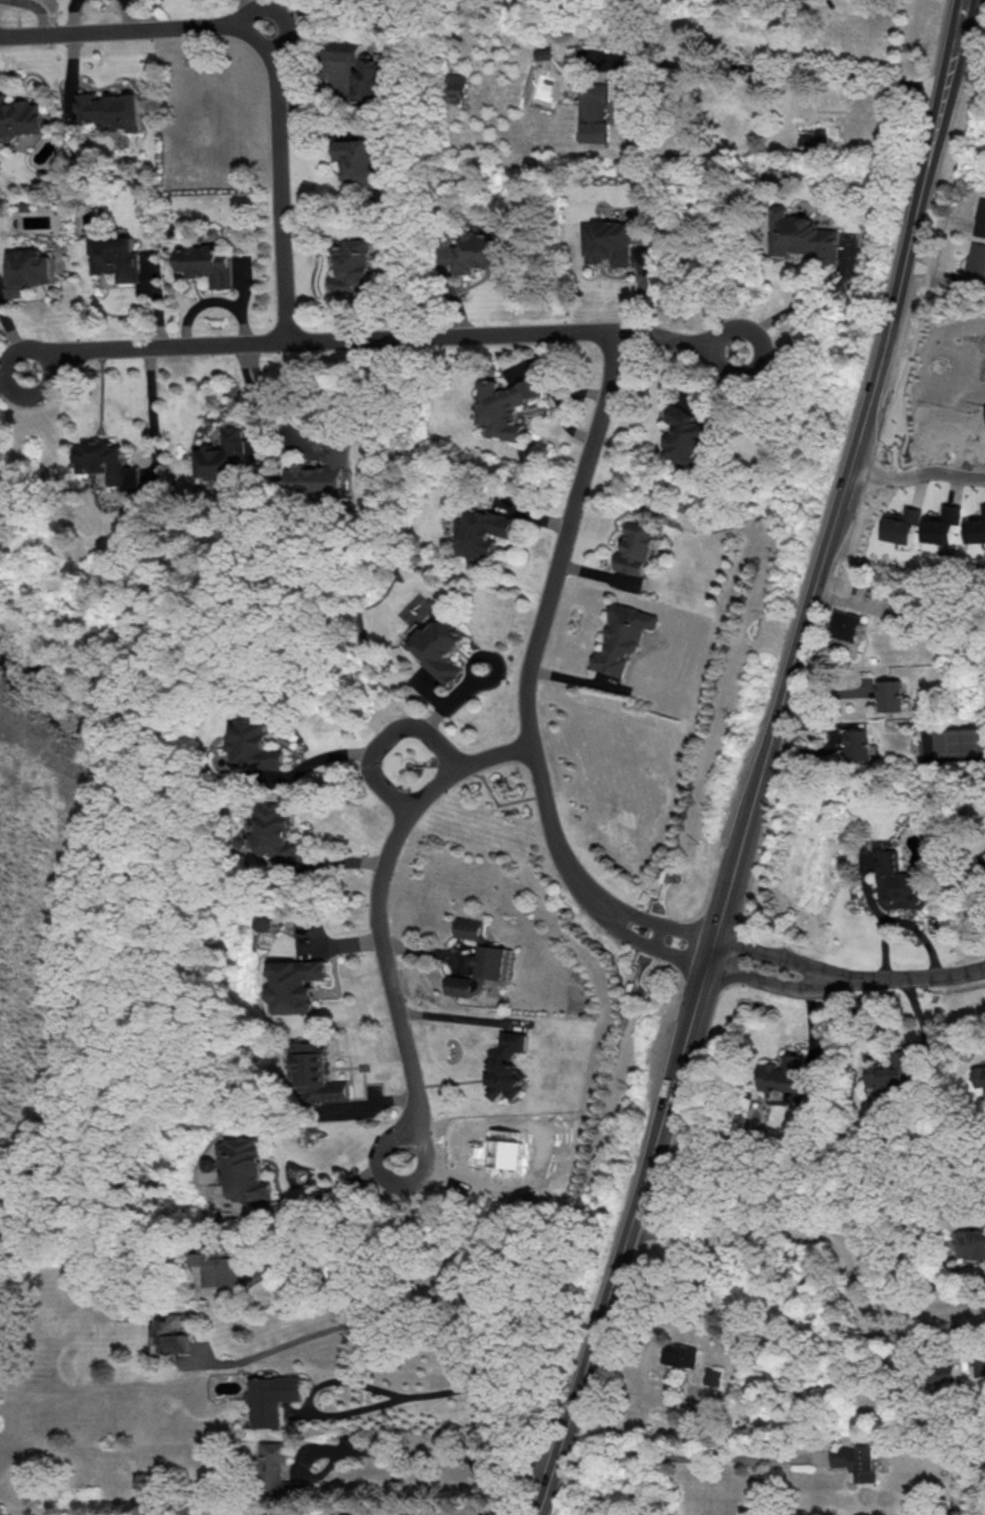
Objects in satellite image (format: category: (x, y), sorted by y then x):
road: (349, 8)
road: (72, 16)
road: (134, 16)
road: (959, 16)
road: (285, 19)
road: (949, 60)
road: (260, 62)
building: (361, 68)
road: (776, 70)
building: (457, 86)
building: (113, 108)
building: (595, 109)
building: (20, 116)
road: (937, 116)
building: (360, 160)
building: (980, 218)
building: (801, 235)
building: (611, 241)
building: (478, 253)
building: (116, 256)
building: (209, 262)
building: (975, 264)
building: (353, 265)
building: (28, 269)
road: (801, 300)
road: (369, 345)
road: (274, 400)
building: (507, 405)
building: (682, 433)
building: (225, 454)
building: (112, 464)
road: (916, 472)
building: (323, 473)
road: (847, 474)
building: (945, 523)
building: (904, 524)
building: (977, 528)
building: (485, 532)
building: (638, 548)
building: (846, 626)
building: (624, 637)
building: (440, 644)
road: (528, 685)
building: (894, 695)
road: (385, 737)
building: (259, 742)
building: (860, 744)
road: (316, 761)
building: (281, 831)
building: (901, 882)
road: (380, 915)
building: (270, 922)
building: (469, 927)
road: (711, 945)
building: (480, 971)
road: (846, 978)
building: (301, 984)
road: (462, 1016)
building: (506, 1064)
building: (783, 1072)
building: (887, 1073)
building: (320, 1074)
building: (980, 1075)
road: (658, 1130)
building: (504, 1147)
building: (249, 1168)
road: (340, 1186)
road: (824, 1237)
building: (971, 1243)
road: (368, 1254)
building: (219, 1265)
road: (337, 1328)
building: (172, 1334)
road: (592, 1342)
building: (680, 1354)
building: (944, 1372)
building: (714, 1375)
building: (273, 1397)
road: (493, 1398)
road: (399, 1400)
road: (421, 1455)
road: (679, 1456)
building: (858, 1460)
building: (280, 1473)
building: (340, 1513)

